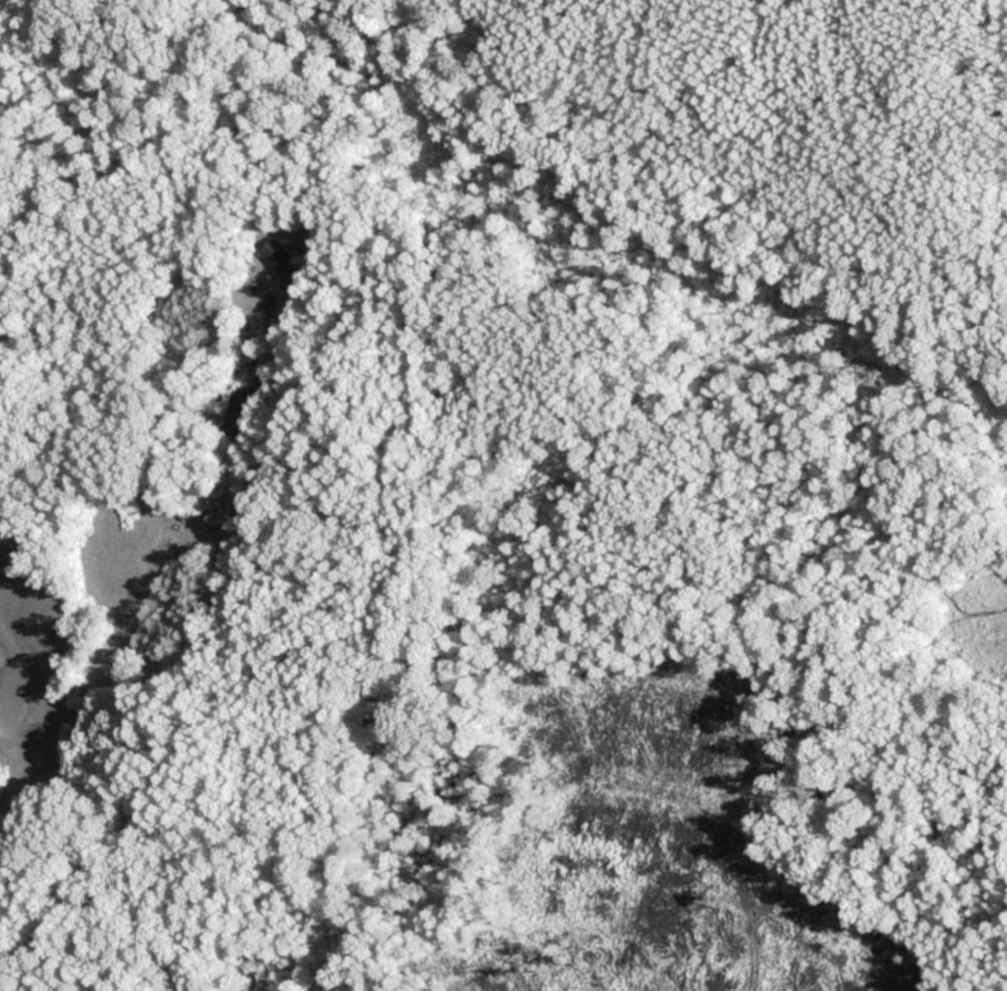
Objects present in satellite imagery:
building: (284, 261)
building: (240, 412)
park: (637, 452)

